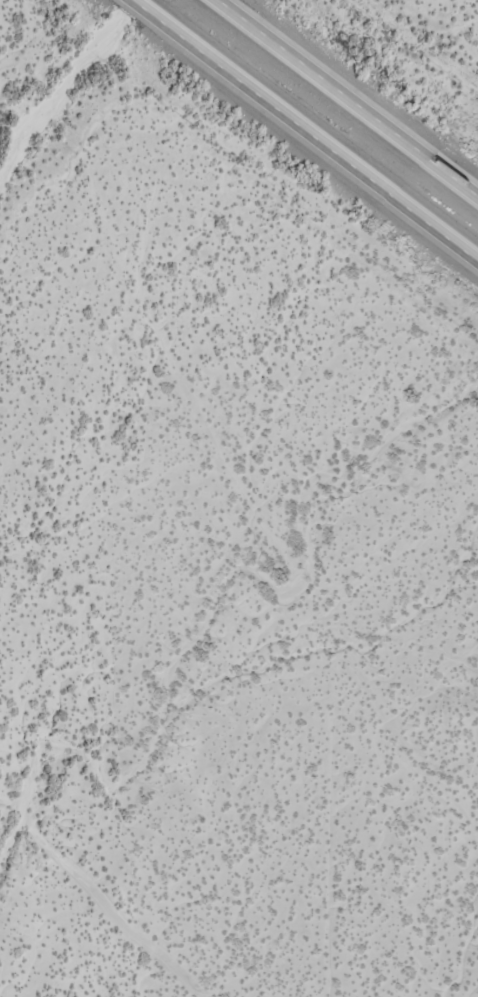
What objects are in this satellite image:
road: (345, 99)
road: (304, 130)

